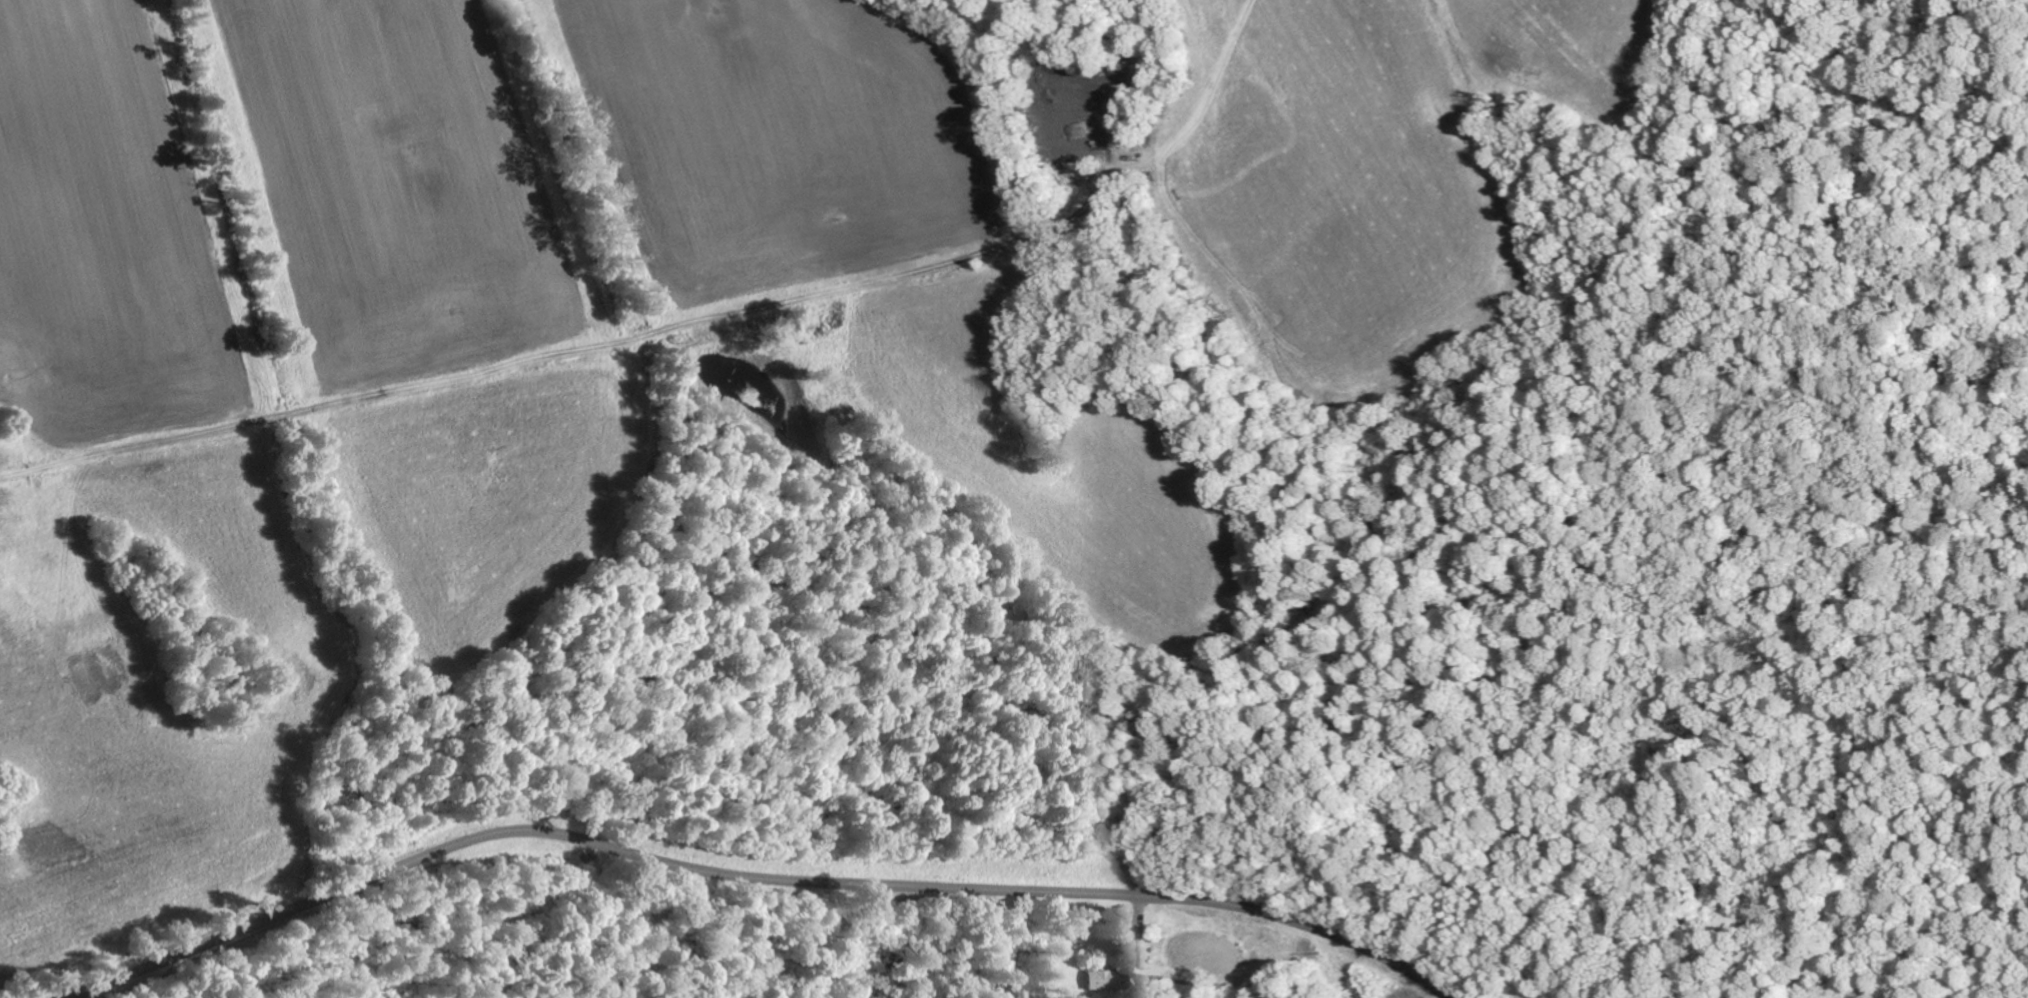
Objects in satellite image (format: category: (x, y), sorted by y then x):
road: (738, 409)
road: (754, 880)
building: (1101, 980)

